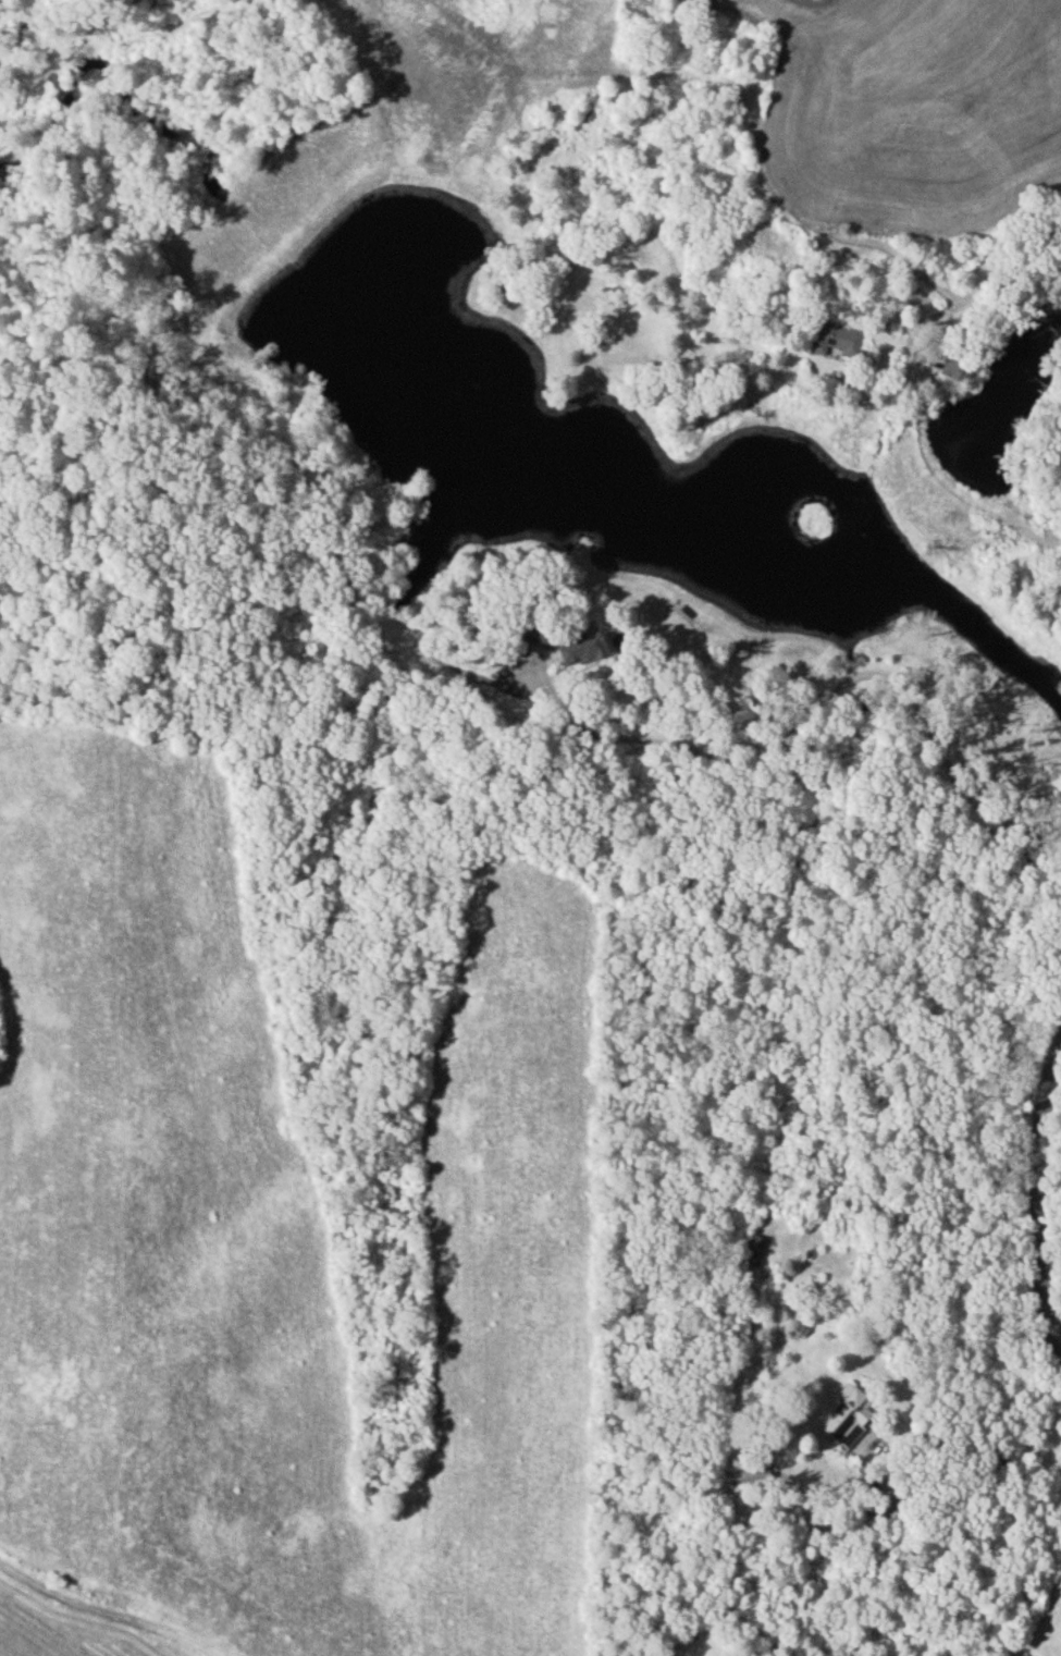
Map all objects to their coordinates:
road: (1006, 274)
building: (835, 340)
building: (954, 368)
building: (582, 649)
road: (824, 695)
road: (1043, 1190)
building: (753, 1249)
road: (1060, 1340)
building: (847, 1414)
road: (1002, 1457)
building: (751, 1472)

